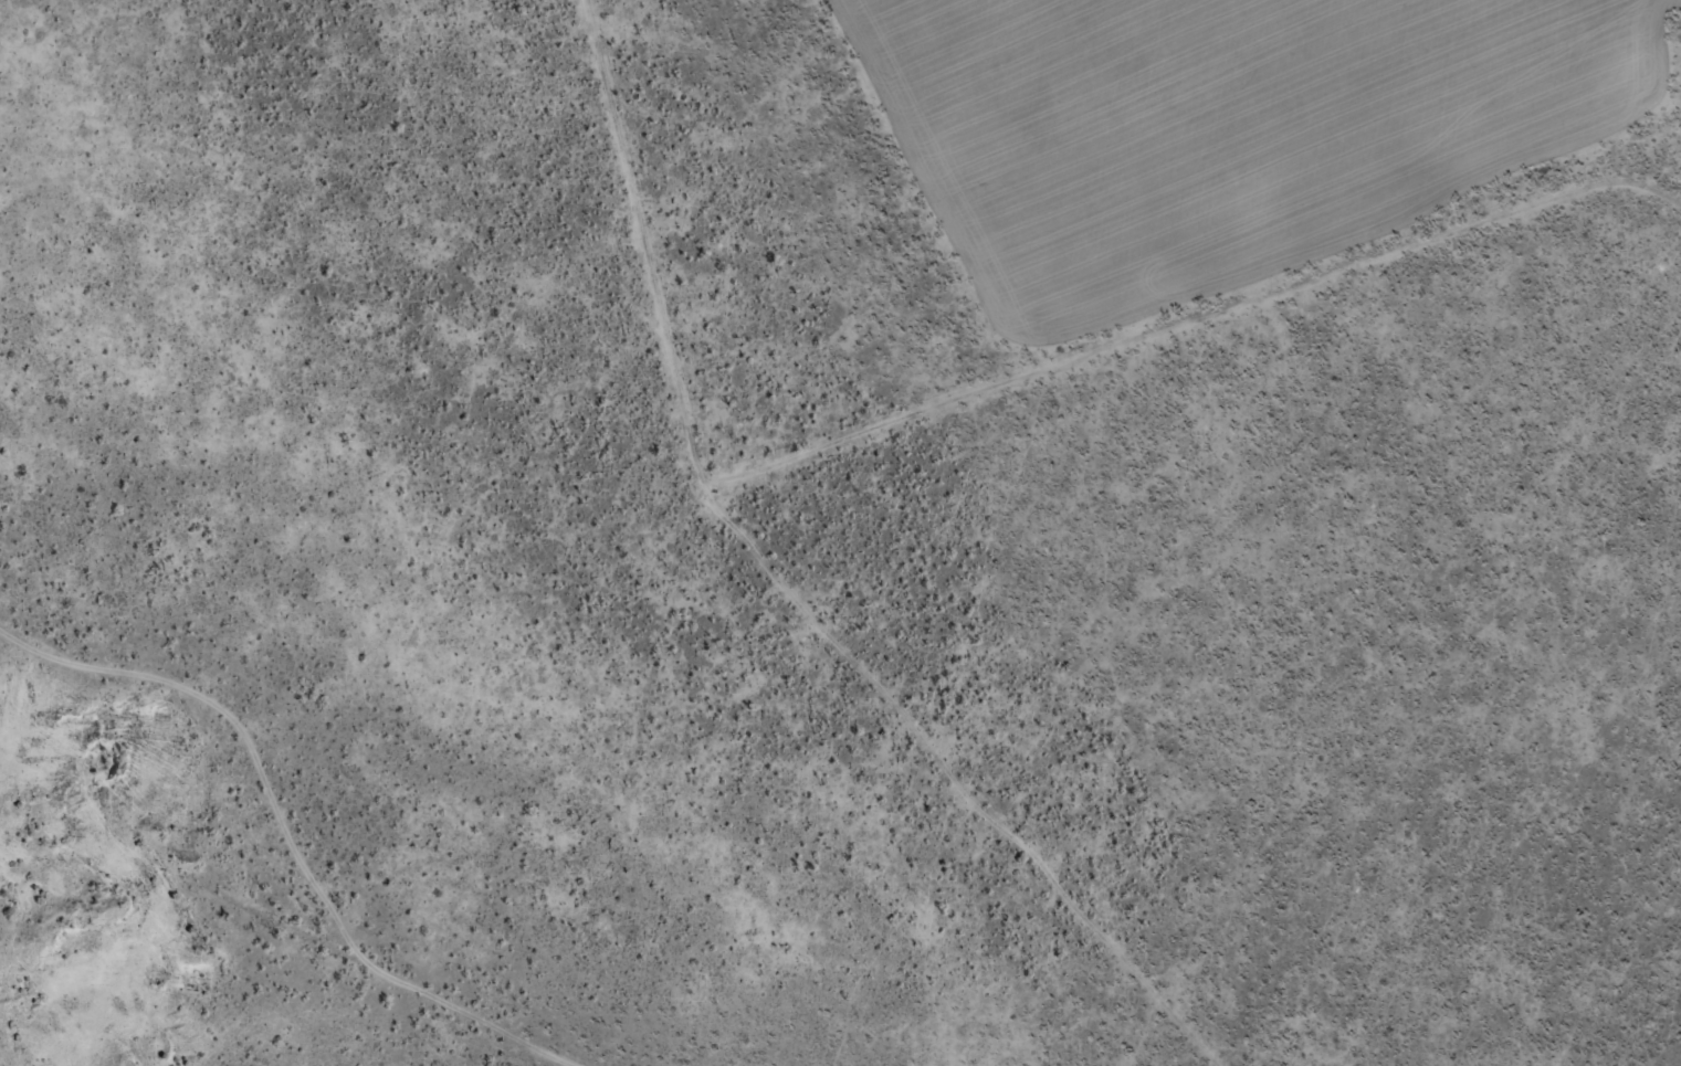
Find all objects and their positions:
road: (1015, 390)
road: (230, 888)

